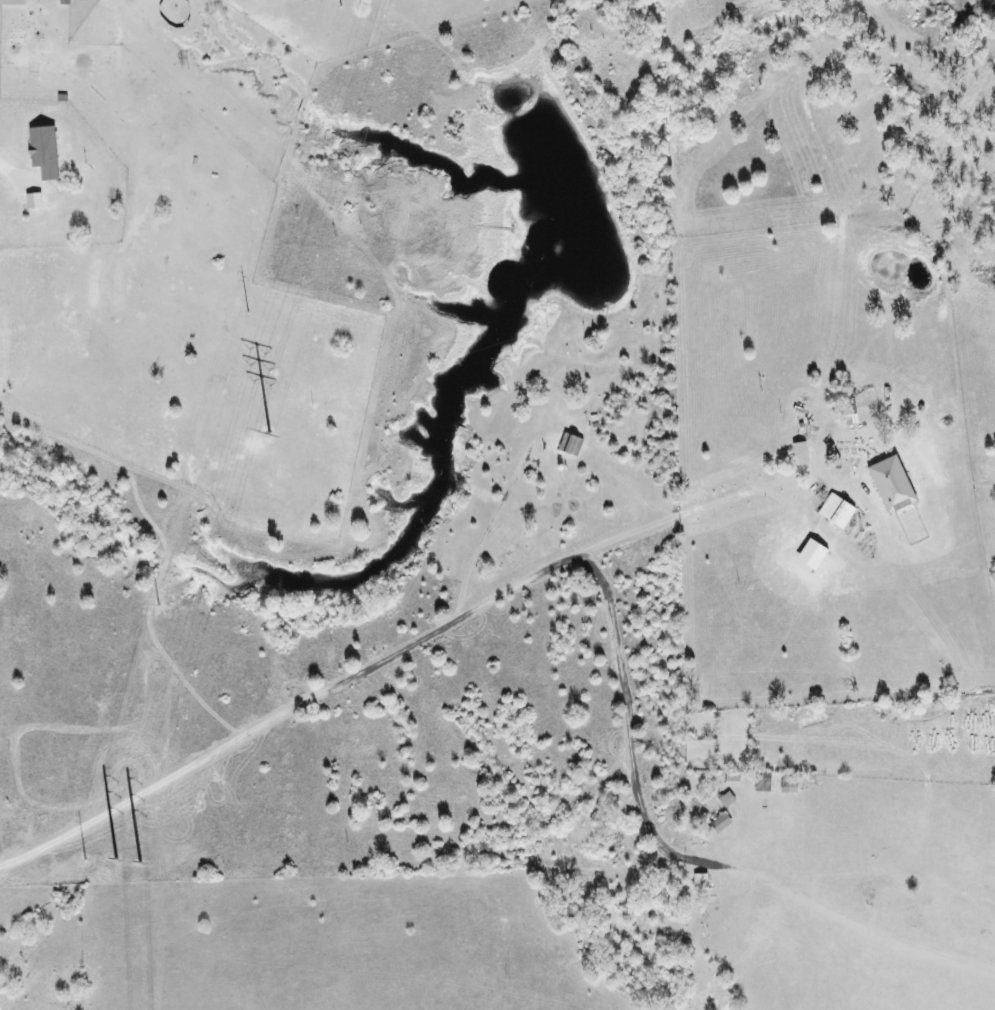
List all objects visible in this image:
building: (16, 2)
power tower: (342, 4)
building: (48, 152)
power tower: (250, 312)
building: (804, 454)
building: (896, 485)
building: (841, 511)
power tower: (161, 606)
building: (730, 800)
power tower: (157, 813)
building: (725, 823)
power tower: (85, 861)

